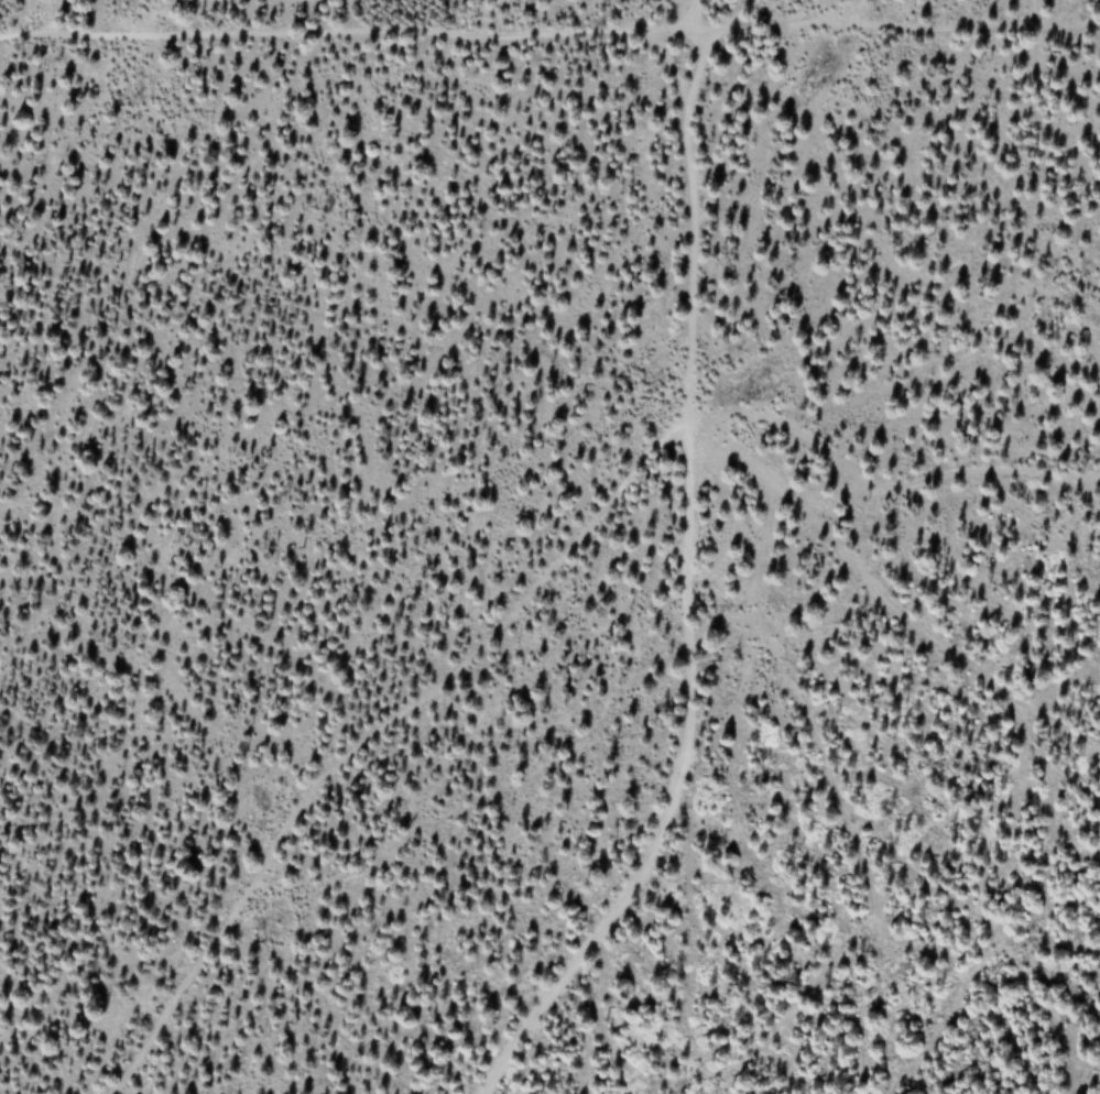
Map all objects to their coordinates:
road: (698, 18)
road: (357, 35)
road: (685, 566)

